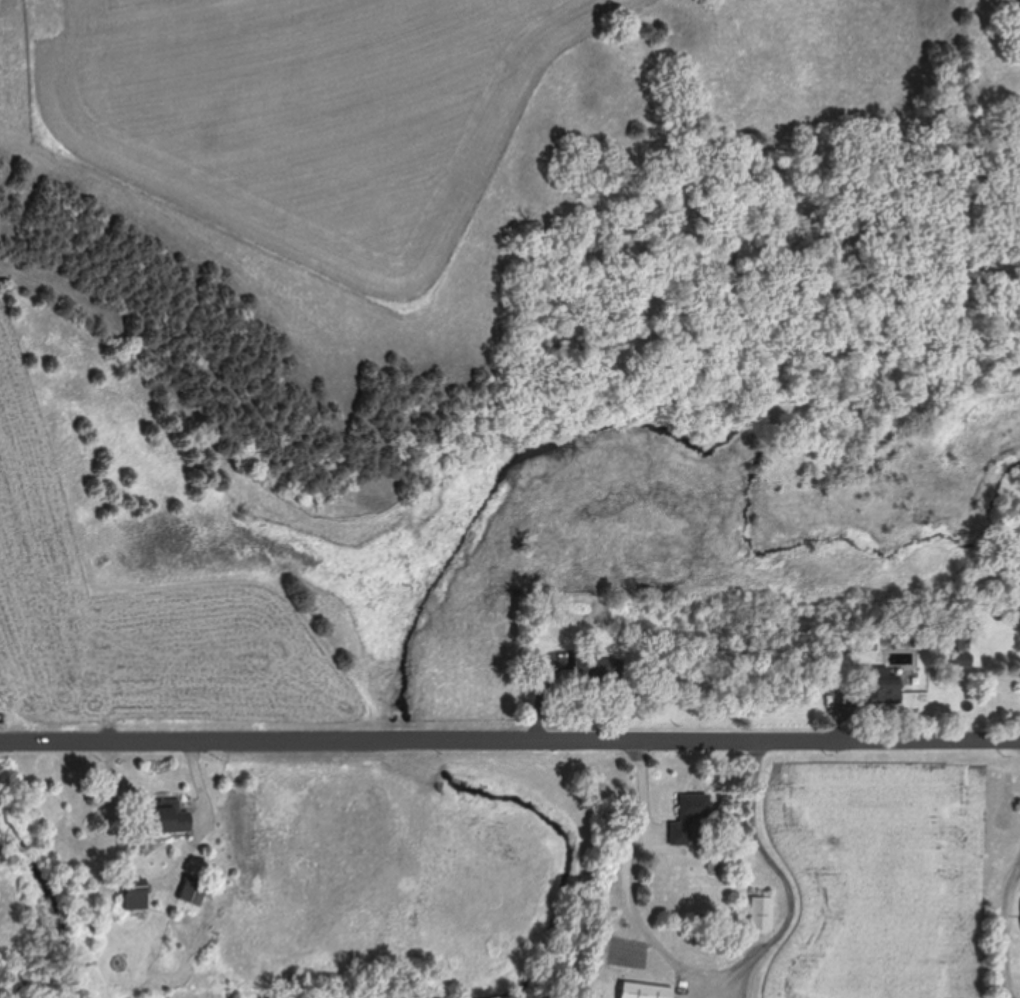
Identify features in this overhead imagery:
building: (963, 659)
building: (882, 685)
road: (509, 741)
building: (688, 816)
building: (164, 817)
road: (149, 828)
building: (193, 890)
building: (136, 894)
building: (762, 913)
road: (720, 970)
building: (646, 991)

